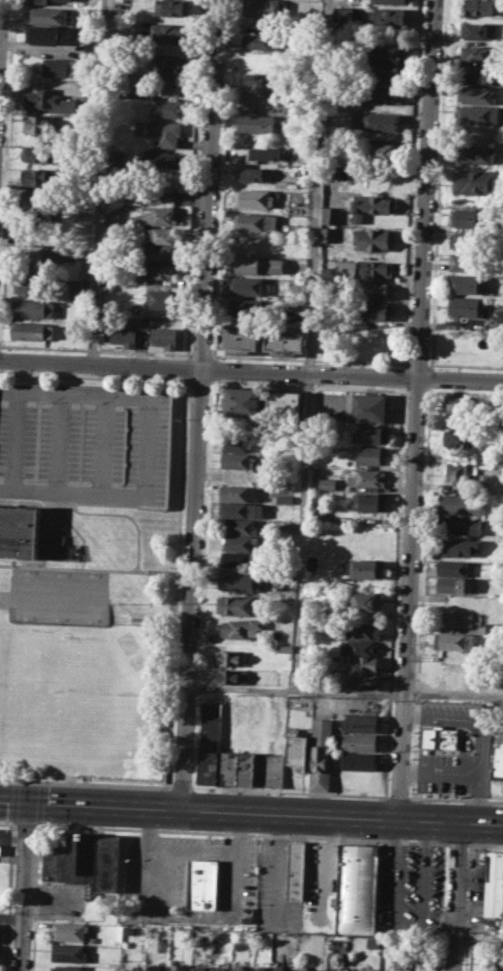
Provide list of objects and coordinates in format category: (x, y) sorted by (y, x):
building: (42, 1)
building: (390, 1)
road: (0, 6)
building: (172, 7)
building: (481, 7)
building: (264, 8)
building: (345, 13)
building: (48, 15)
building: (388, 16)
building: (479, 29)
building: (44, 33)
building: (168, 33)
building: (261, 39)
building: (92, 45)
building: (476, 52)
building: (384, 53)
building: (169, 63)
building: (56, 67)
building: (384, 71)
building: (475, 74)
building: (263, 82)
building: (169, 87)
building: (476, 94)
building: (386, 95)
building: (49, 100)
building: (167, 108)
building: (477, 114)
building: (257, 122)
building: (381, 122)
building: (40, 123)
building: (166, 132)
road: (5, 137)
building: (383, 151)
building: (38, 153)
building: (477, 154)
building: (265, 155)
building: (163, 160)
building: (299, 171)
building: (253, 174)
building: (40, 177)
road: (193, 178)
road: (222, 179)
building: (472, 182)
road: (101, 183)
road: (411, 183)
building: (281, 184)
road: (438, 184)
building: (135, 196)
building: (255, 199)
building: (40, 202)
building: (285, 205)
building: (369, 206)
building: (331, 214)
building: (159, 216)
building: (469, 216)
building: (257, 222)
building: (329, 233)
building: (164, 234)
building: (375, 238)
building: (468, 241)
building: (251, 243)
building: (32, 251)
building: (160, 251)
building: (67, 254)
building: (466, 262)
building: (258, 264)
building: (345, 269)
building: (374, 269)
building: (160, 270)
building: (80, 274)
building: (466, 283)
building: (246, 285)
building: (28, 286)
building: (107, 288)
building: (378, 288)
building: (79, 289)
building: (164, 298)
building: (466, 306)
building: (245, 307)
building: (33, 308)
building: (377, 311)
building: (30, 330)
building: (123, 333)
building: (165, 336)
building: (239, 339)
building: (284, 341)
road: (94, 350)
road: (199, 354)
road: (308, 358)
road: (416, 363)
road: (464, 365)
road: (182, 367)
road: (214, 369)
road: (251, 371)
road: (403, 376)
road: (89, 377)
road: (430, 377)
road: (309, 387)
road: (415, 390)
road: (463, 392)
road: (73, 393)
building: (241, 400)
building: (284, 402)
building: (460, 403)
road: (199, 404)
building: (370, 407)
road: (416, 409)
building: (371, 434)
building: (458, 437)
road: (13, 439)
building: (288, 440)
road: (59, 441)
parking lot: (85, 442)
road: (103, 442)
building: (236, 442)
road: (148, 444)
road: (306, 448)
building: (372, 454)
building: (484, 456)
building: (239, 460)
building: (457, 473)
building: (368, 477)
building: (327, 483)
road: (71, 489)
building: (238, 493)
building: (282, 497)
building: (369, 501)
road: (36, 502)
building: (460, 504)
road: (55, 508)
building: (238, 509)
building: (317, 514)
building: (239, 525)
building: (460, 525)
road: (80, 533)
building: (30, 538)
building: (240, 542)
building: (456, 546)
building: (240, 559)
road: (134, 567)
building: (452, 567)
building: (365, 568)
road: (164, 569)
road: (176, 579)
building: (238, 581)
road: (203, 583)
building: (454, 584)
road: (393, 590)
road: (420, 591)
park: (60, 596)
building: (365, 601)
building: (237, 605)
building: (456, 619)
building: (242, 626)
building: (362, 630)
building: (455, 640)
building: (358, 647)
building: (284, 648)
building: (229, 657)
building: (366, 663)
building: (231, 676)
building: (365, 679)
road: (240, 687)
building: (96, 703)
building: (365, 722)
building: (439, 738)
parking lot: (475, 739)
building: (210, 742)
building: (364, 742)
building: (298, 750)
building: (322, 754)
building: (363, 762)
building: (498, 763)
building: (228, 766)
building: (246, 768)
building: (269, 769)
road: (463, 774)
road: (14, 781)
road: (40, 782)
road: (85, 782)
road: (180, 786)
road: (289, 791)
road: (397, 796)
road: (455, 798)
traffic signals: (29, 801)
road: (13, 802)
road: (38, 804)
road: (251, 812)
road: (8, 823)
road: (28, 825)
road: (244, 834)
road: (457, 843)
road: (485, 845)
road: (192, 850)
building: (0, 852)
building: (85, 860)
building: (296, 869)
building: (201, 883)
building: (493, 884)
road: (25, 885)
building: (356, 890)
parking lot: (408, 890)
road: (9, 896)
road: (35, 896)
road: (457, 897)
road: (440, 907)
road: (468, 908)
road: (185, 914)
road: (11, 916)
road: (406, 918)
building: (70, 931)
road: (478, 940)
building: (69, 952)
building: (399, 962)
building: (66, 967)
building: (177, 967)
building: (131, 968)
building: (155, 968)
building: (198, 968)
building: (217, 968)
building: (238, 969)
building: (258, 969)
building: (279, 969)
building: (337, 969)
building: (305, 970)
building: (365, 970)

